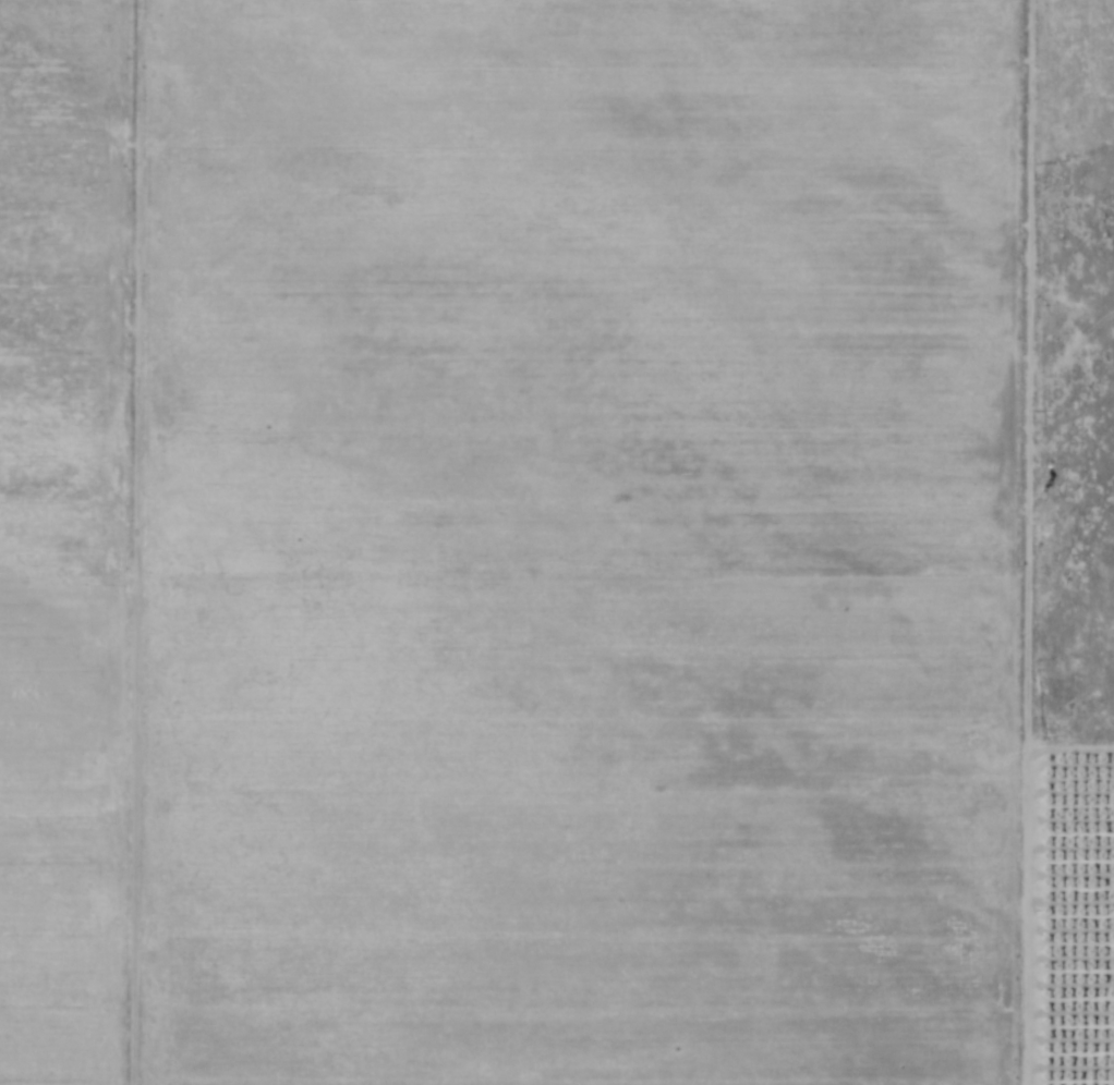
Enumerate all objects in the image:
road: (132, 542)
road: (1025, 542)
road: (1067, 751)

